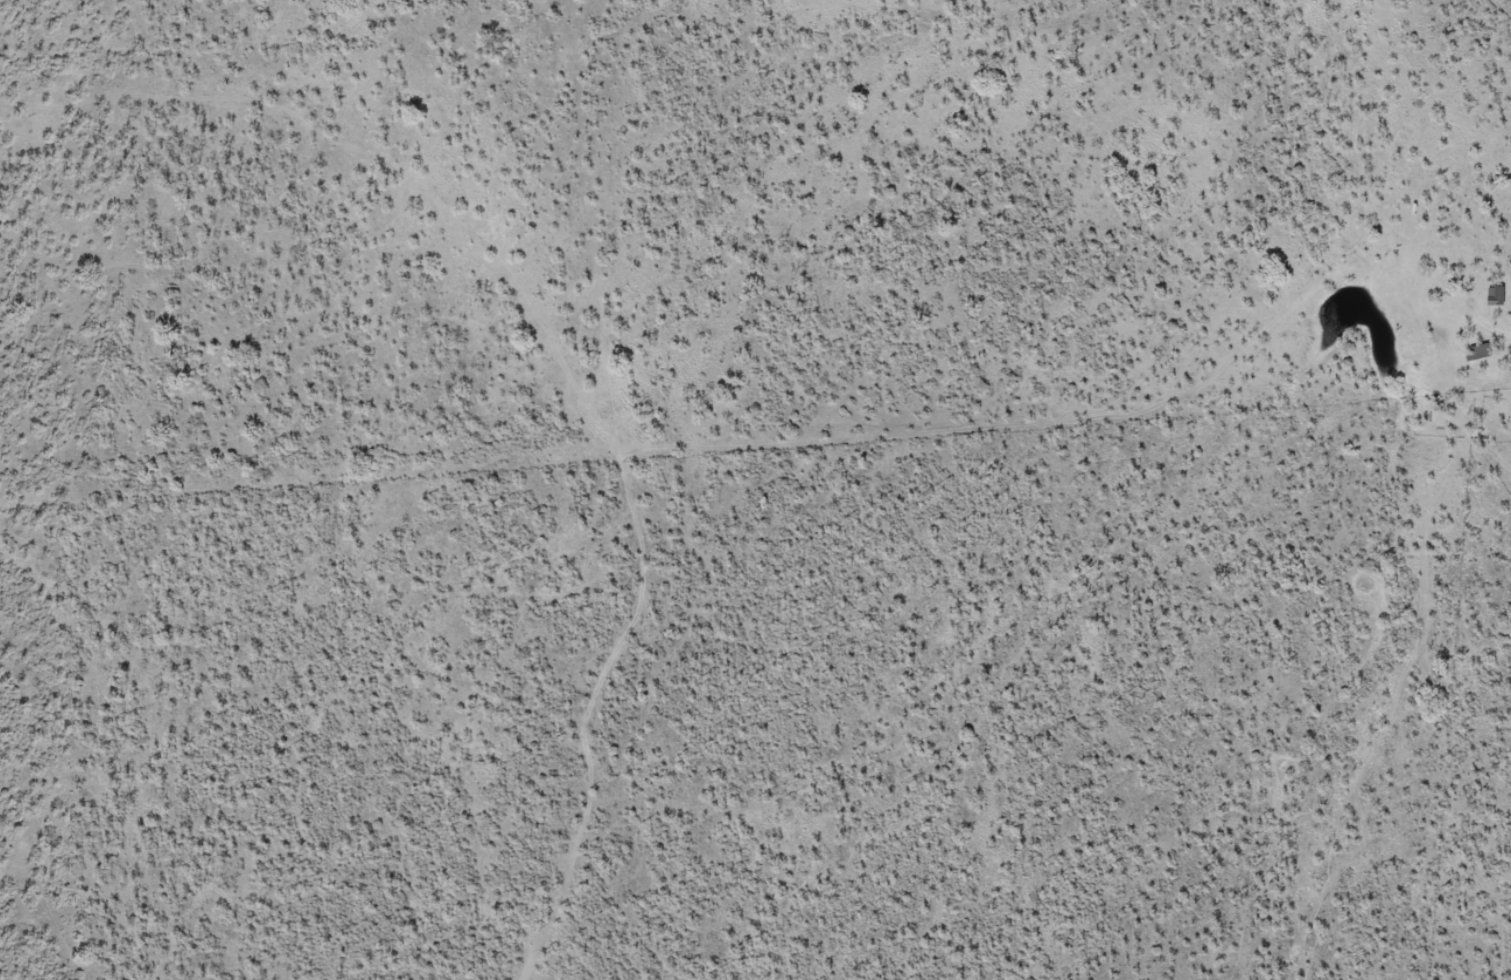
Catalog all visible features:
building: (1499, 297)

